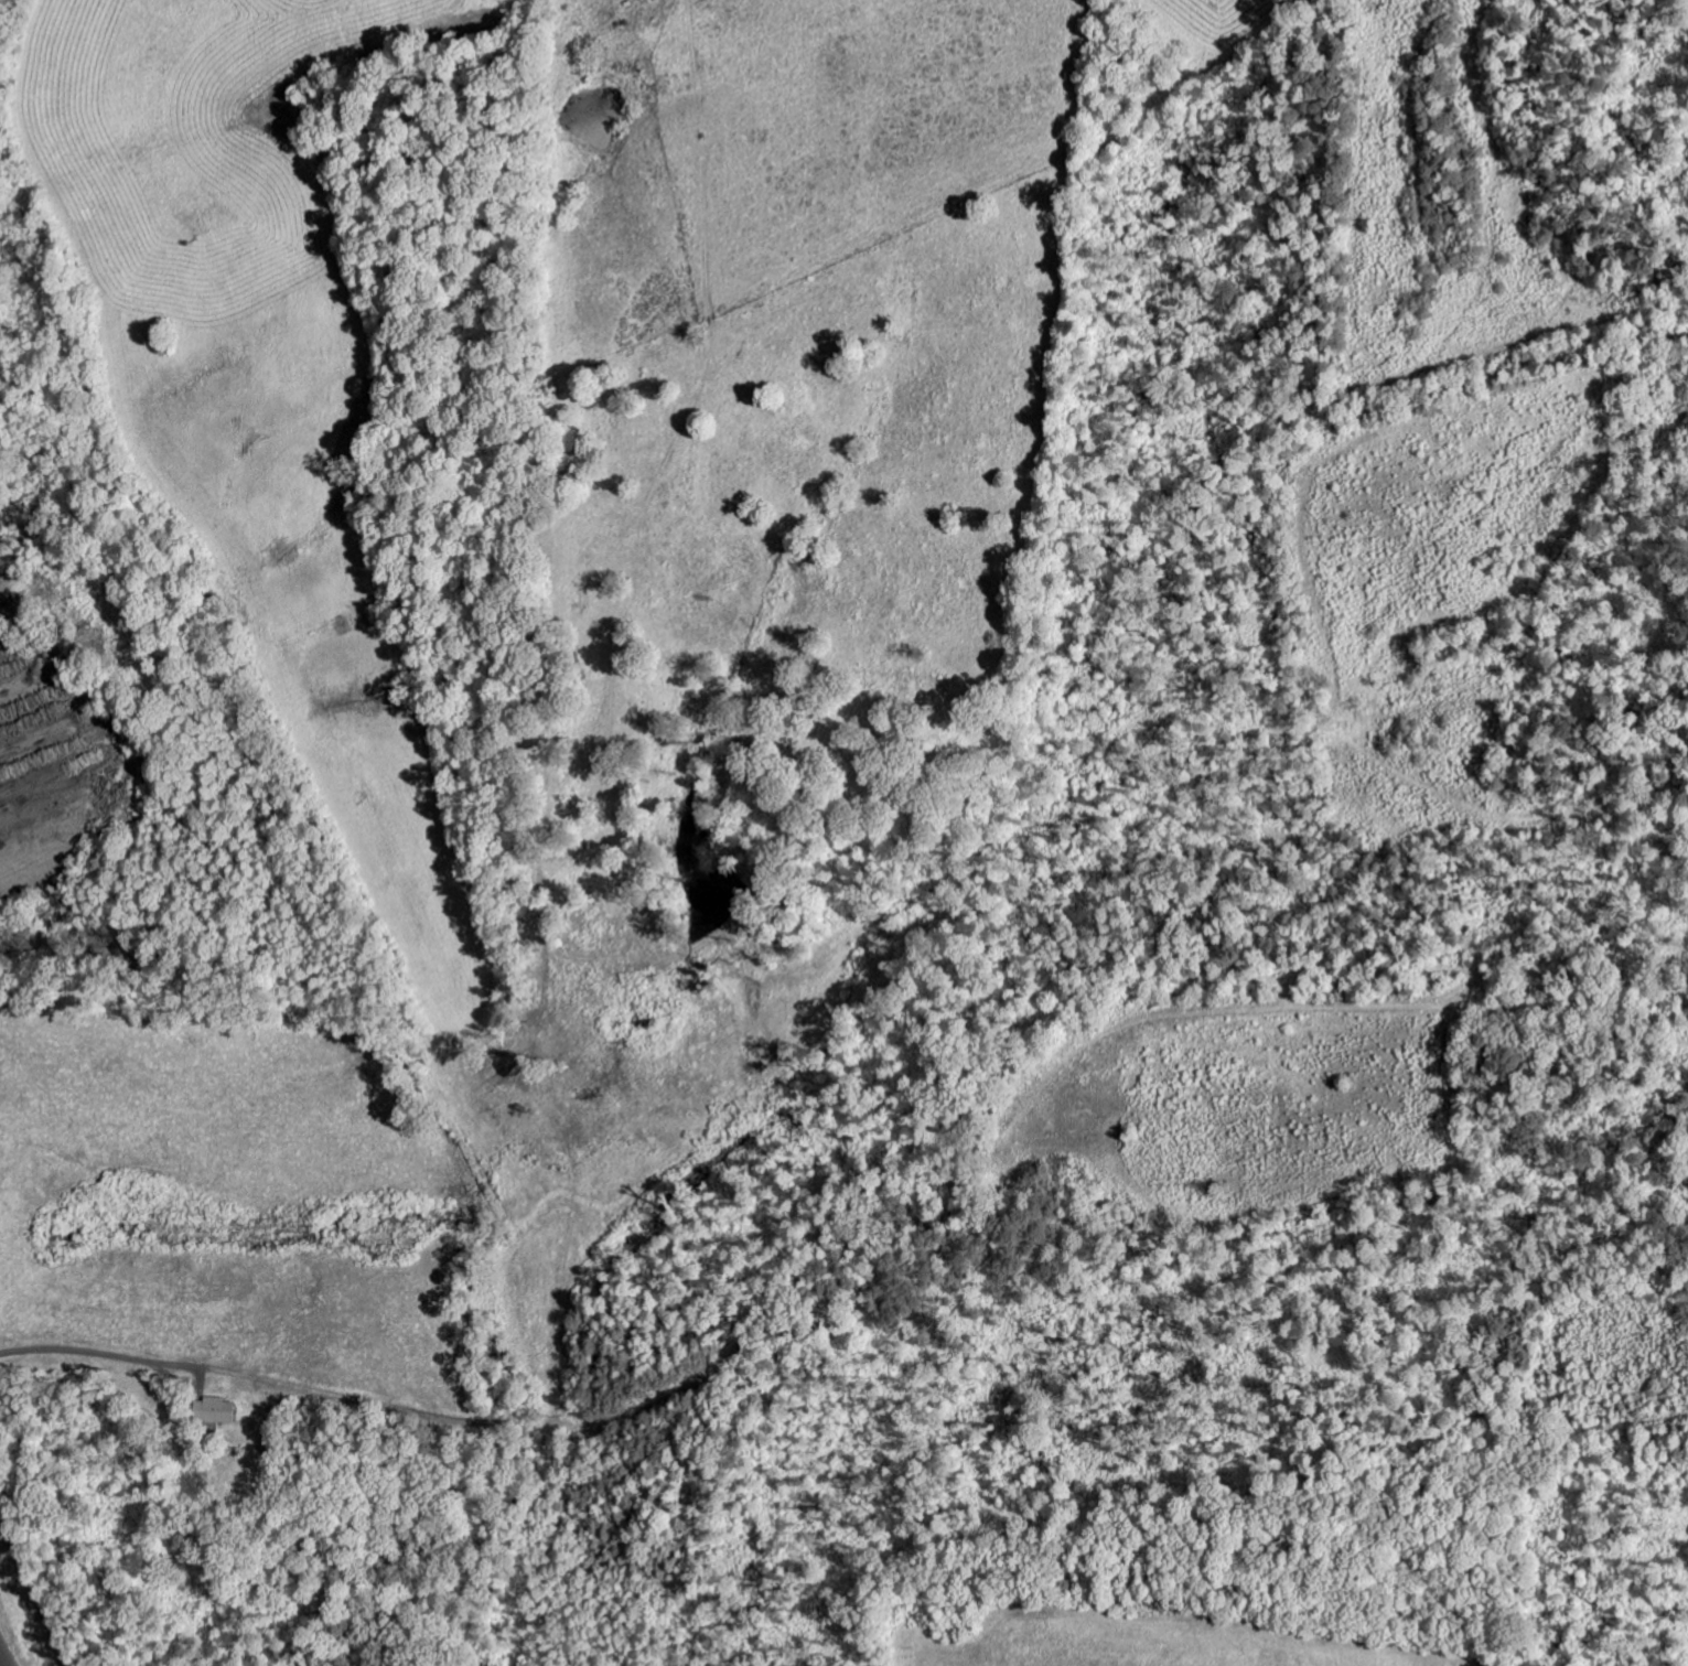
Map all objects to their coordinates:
road: (98, 1352)
building: (209, 1412)

